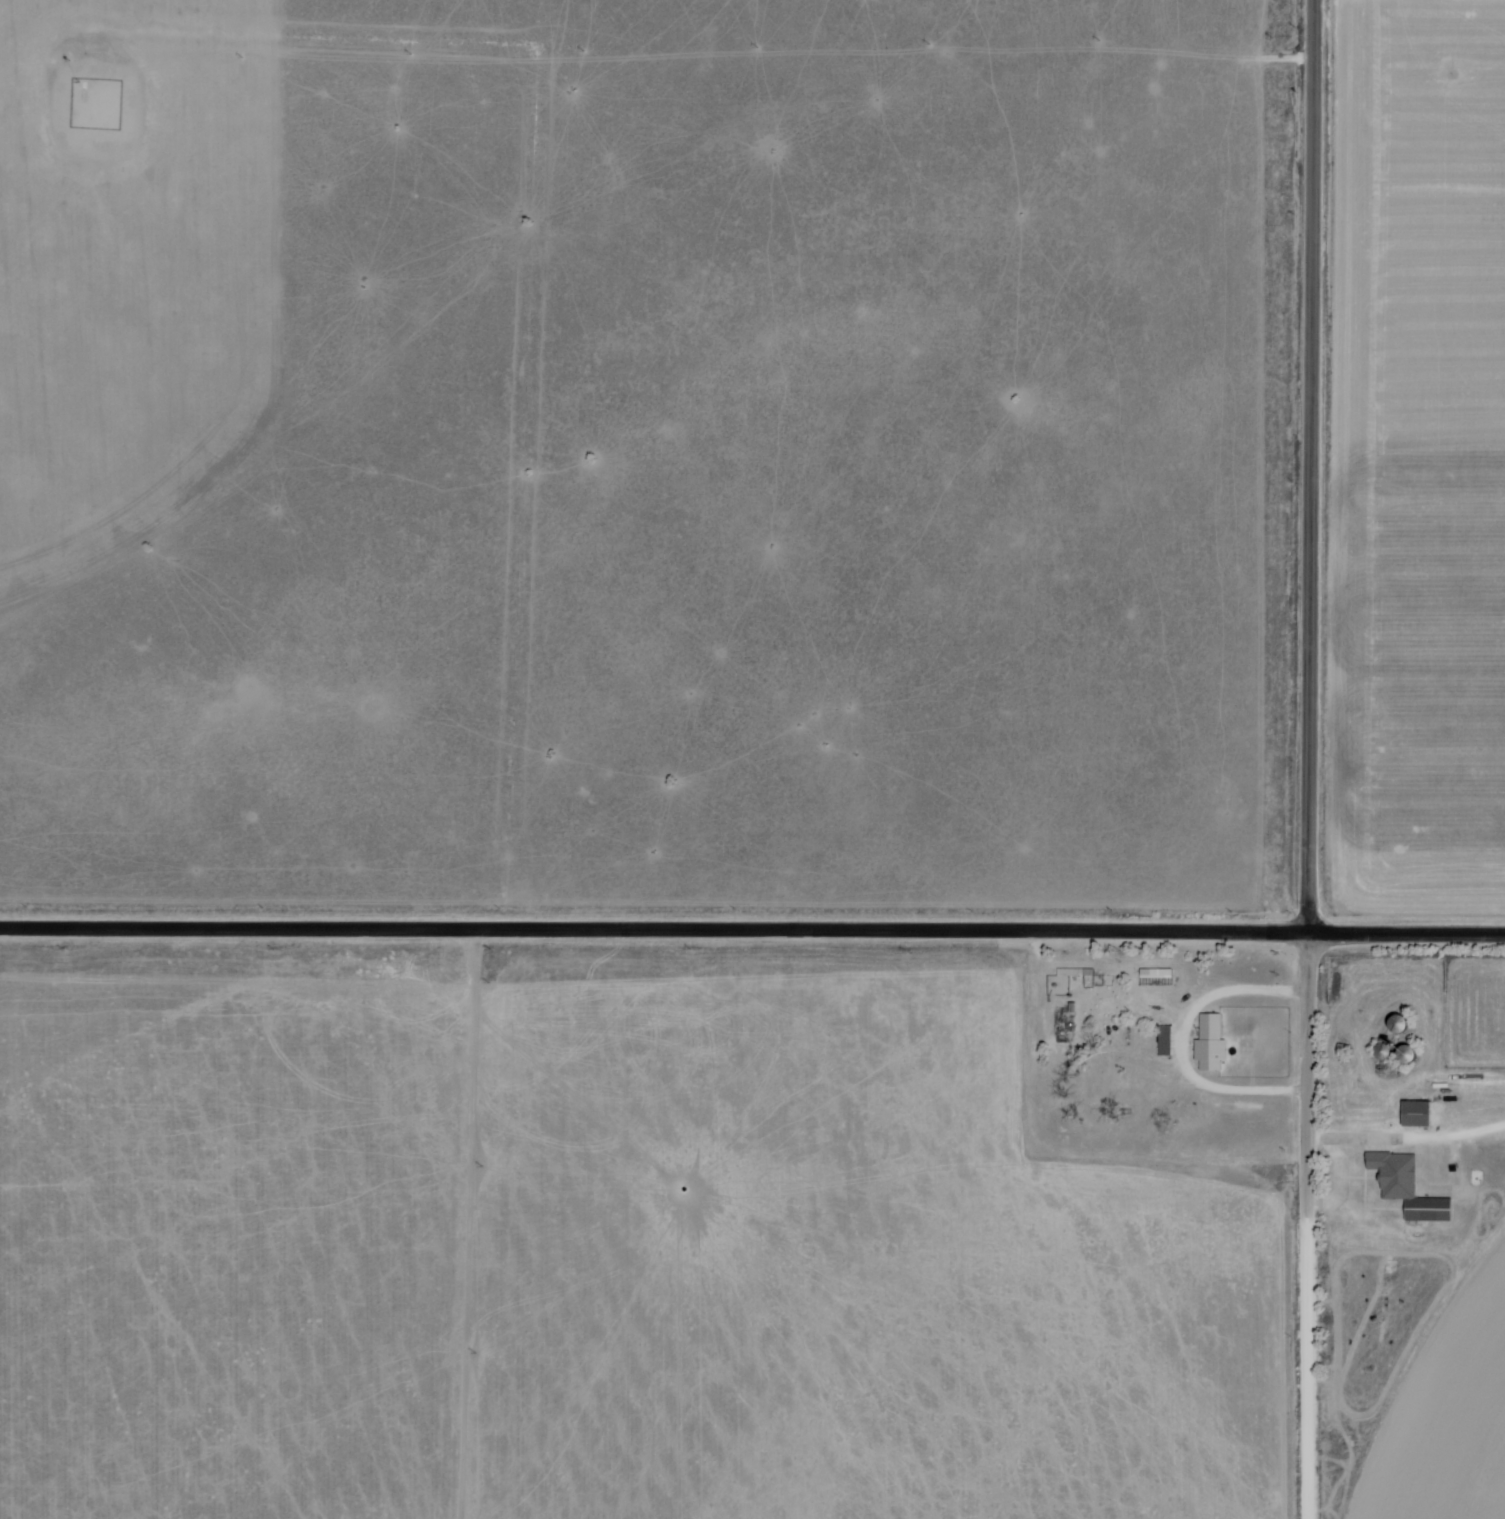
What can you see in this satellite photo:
road: (1313, 466)
road: (752, 928)
building: (1155, 974)
road: (1182, 1043)
building: (1209, 1044)
building: (1417, 1115)
road: (1344, 1176)
building: (1407, 1188)
road: (1309, 1225)

